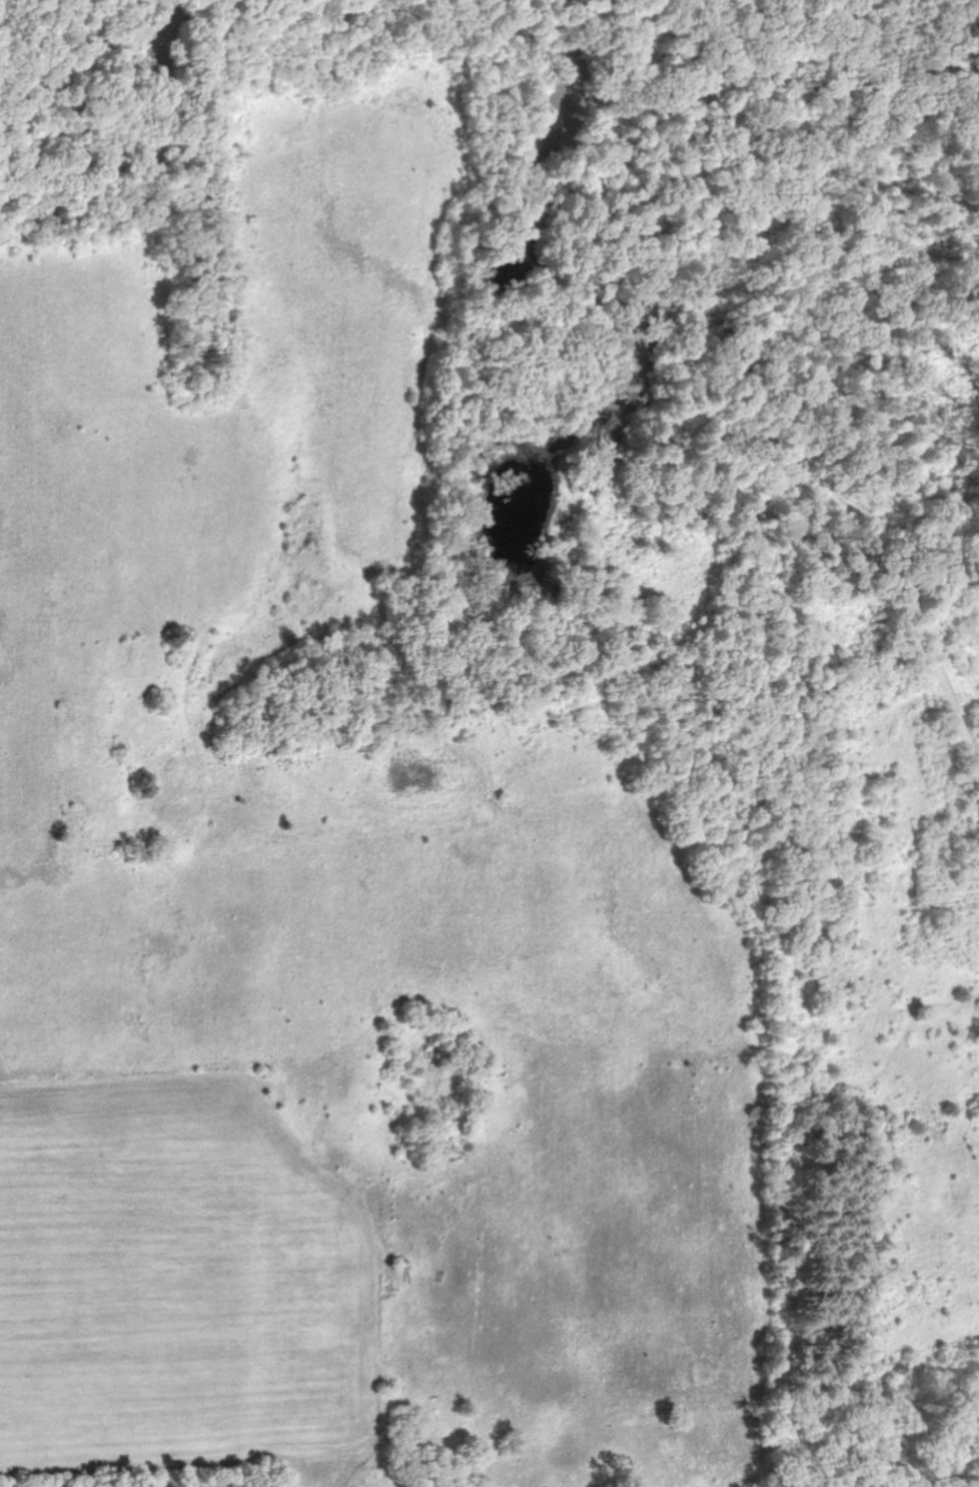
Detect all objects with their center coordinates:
road: (840, 470)
park: (489, 743)

